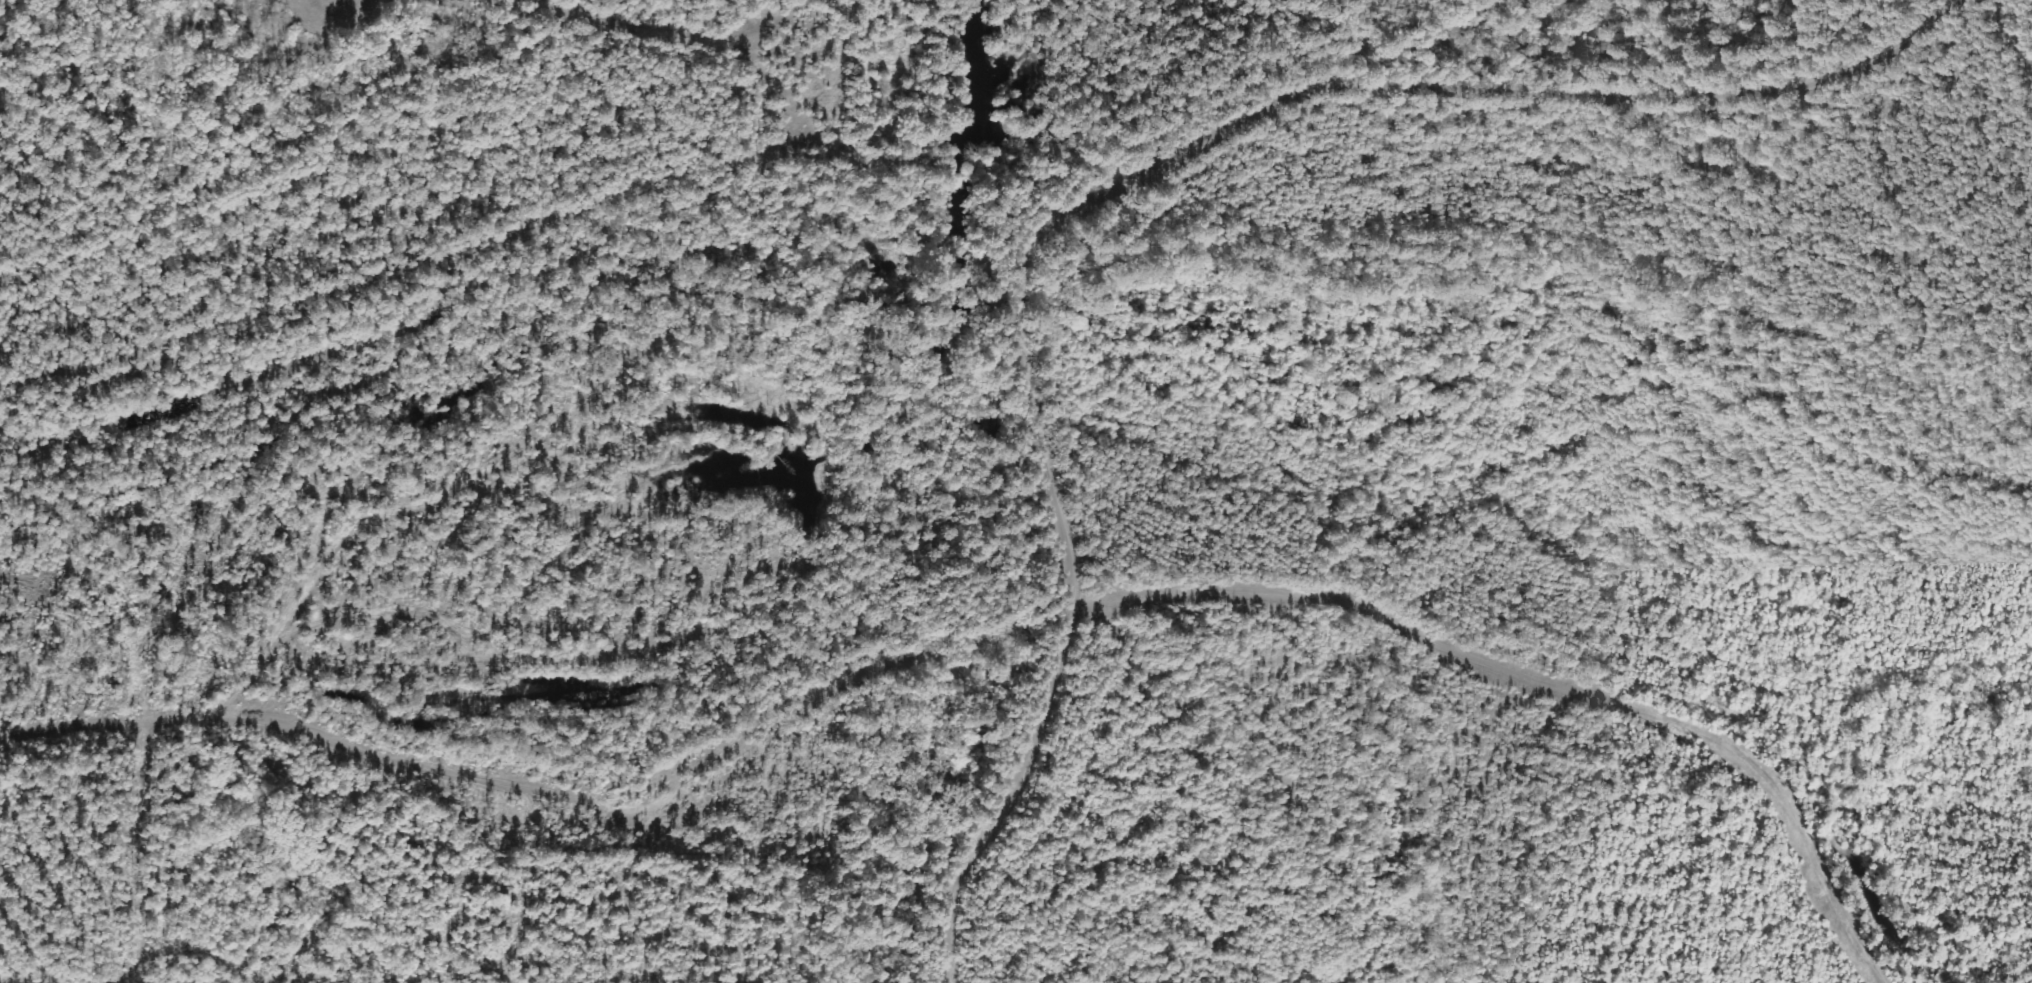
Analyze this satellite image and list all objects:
road: (1132, 183)
road: (1130, 523)

